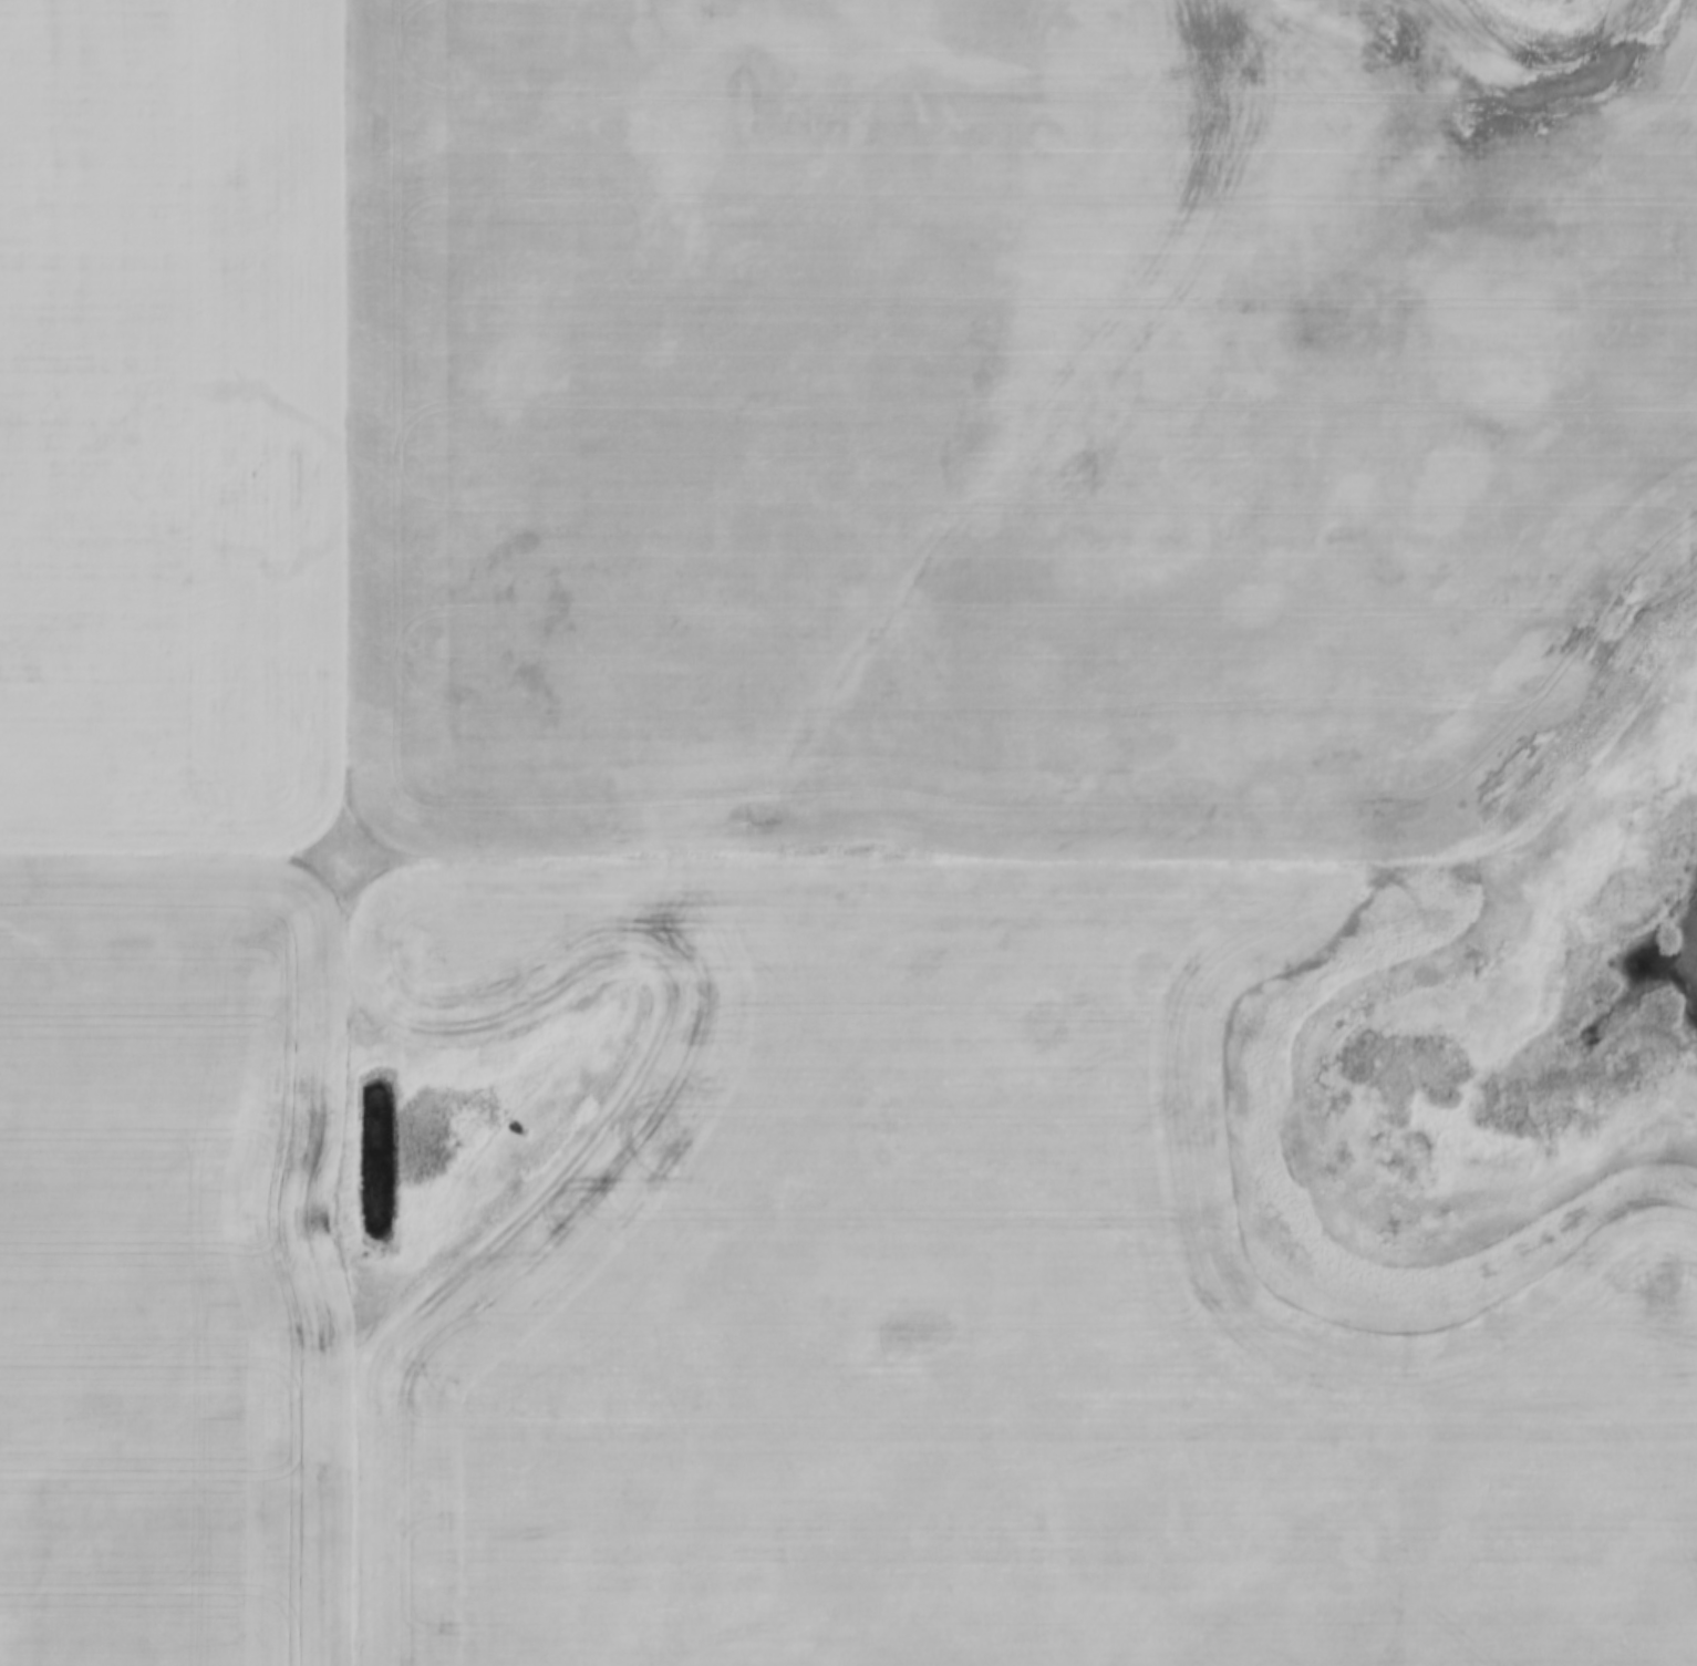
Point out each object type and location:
road: (306, 850)

